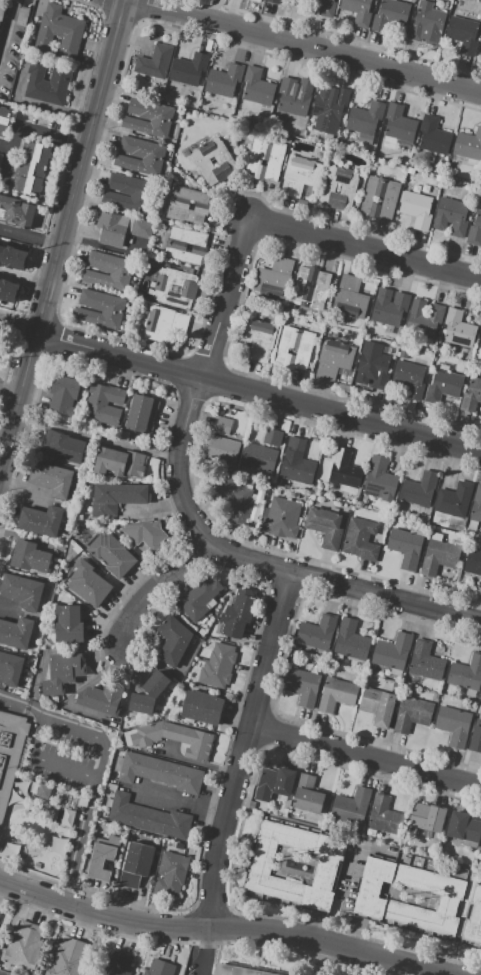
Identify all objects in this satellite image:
building: (330, 0)
building: (275, 1)
building: (2, 10)
building: (359, 11)
building: (390, 15)
building: (22, 16)
building: (427, 25)
road: (7, 26)
building: (59, 32)
building: (462, 34)
building: (480, 42)
road: (304, 47)
building: (154, 62)
building: (189, 69)
building: (48, 80)
building: (224, 81)
building: (257, 87)
building: (295, 96)
building: (329, 109)
building: (3, 118)
building: (148, 118)
building: (365, 118)
building: (398, 127)
road: (28, 131)
building: (435, 137)
building: (468, 145)
road: (6, 148)
building: (186, 153)
building: (139, 157)
building: (265, 158)
building: (225, 162)
building: (31, 167)
building: (412, 172)
building: (297, 177)
building: (348, 189)
building: (128, 192)
building: (379, 197)
building: (187, 205)
building: (417, 206)
building: (16, 212)
building: (451, 217)
building: (119, 228)
building: (475, 231)
road: (62, 235)
road: (29, 239)
road: (366, 245)
building: (185, 246)
building: (12, 257)
building: (108, 271)
building: (274, 275)
road: (24, 279)
building: (174, 287)
building: (310, 287)
building: (8, 289)
building: (349, 298)
building: (291, 307)
building: (100, 309)
building: (390, 309)
building: (423, 321)
road: (19, 322)
building: (164, 325)
building: (458, 328)
building: (480, 331)
building: (258, 339)
building: (435, 343)
building: (480, 346)
building: (294, 347)
building: (402, 354)
building: (333, 360)
building: (374, 368)
building: (409, 378)
road: (199, 382)
building: (443, 384)
road: (11, 388)
road: (258, 393)
building: (63, 395)
building: (471, 395)
building: (104, 403)
building: (141, 413)
building: (123, 435)
building: (272, 437)
building: (295, 445)
building: (62, 446)
building: (222, 450)
building: (259, 457)
building: (119, 463)
building: (297, 469)
building: (344, 469)
building: (52, 479)
building: (380, 480)
building: (288, 483)
building: (332, 486)
building: (420, 489)
building: (116, 497)
building: (236, 499)
building: (454, 500)
building: (476, 505)
building: (281, 518)
building: (41, 520)
building: (472, 525)
building: (325, 527)
building: (146, 532)
building: (360, 539)
building: (406, 546)
building: (112, 554)
building: (438, 555)
building: (29, 556)
building: (473, 562)
building: (88, 583)
building: (480, 583)
road: (345, 586)
road: (152, 588)
building: (22, 590)
building: (198, 600)
building: (238, 614)
building: (68, 625)
building: (15, 632)
building: (316, 633)
building: (350, 640)
building: (173, 641)
building: (392, 652)
building: (425, 661)
building: (218, 666)
building: (10, 668)
building: (65, 668)
building: (467, 674)
building: (155, 683)
building: (302, 686)
building: (336, 694)
building: (102, 698)
building: (179, 701)
building: (480, 701)
building: (141, 704)
building: (377, 705)
building: (201, 707)
building: (479, 709)
building: (411, 714)
building: (453, 725)
building: (173, 739)
building: (475, 739)
road: (246, 749)
building: (9, 753)
road: (367, 756)
road: (43, 759)
road: (200, 763)
road: (98, 767)
building: (158, 772)
building: (274, 783)
building: (109, 786)
building: (35, 790)
building: (310, 795)
road: (183, 800)
building: (81, 802)
building: (351, 806)
building: (285, 811)
building: (82, 813)
building: (384, 815)
building: (426, 816)
building: (68, 817)
building: (147, 817)
building: (464, 828)
building: (366, 831)
building: (57, 846)
building: (10, 851)
building: (103, 856)
building: (412, 863)
building: (135, 864)
building: (37, 866)
building: (325, 867)
building: (171, 873)
building: (451, 896)
building: (473, 919)
road: (224, 928)
building: (22, 947)
road: (201, 951)
building: (68, 958)
building: (114, 964)
building: (159, 968)
building: (236, 971)

